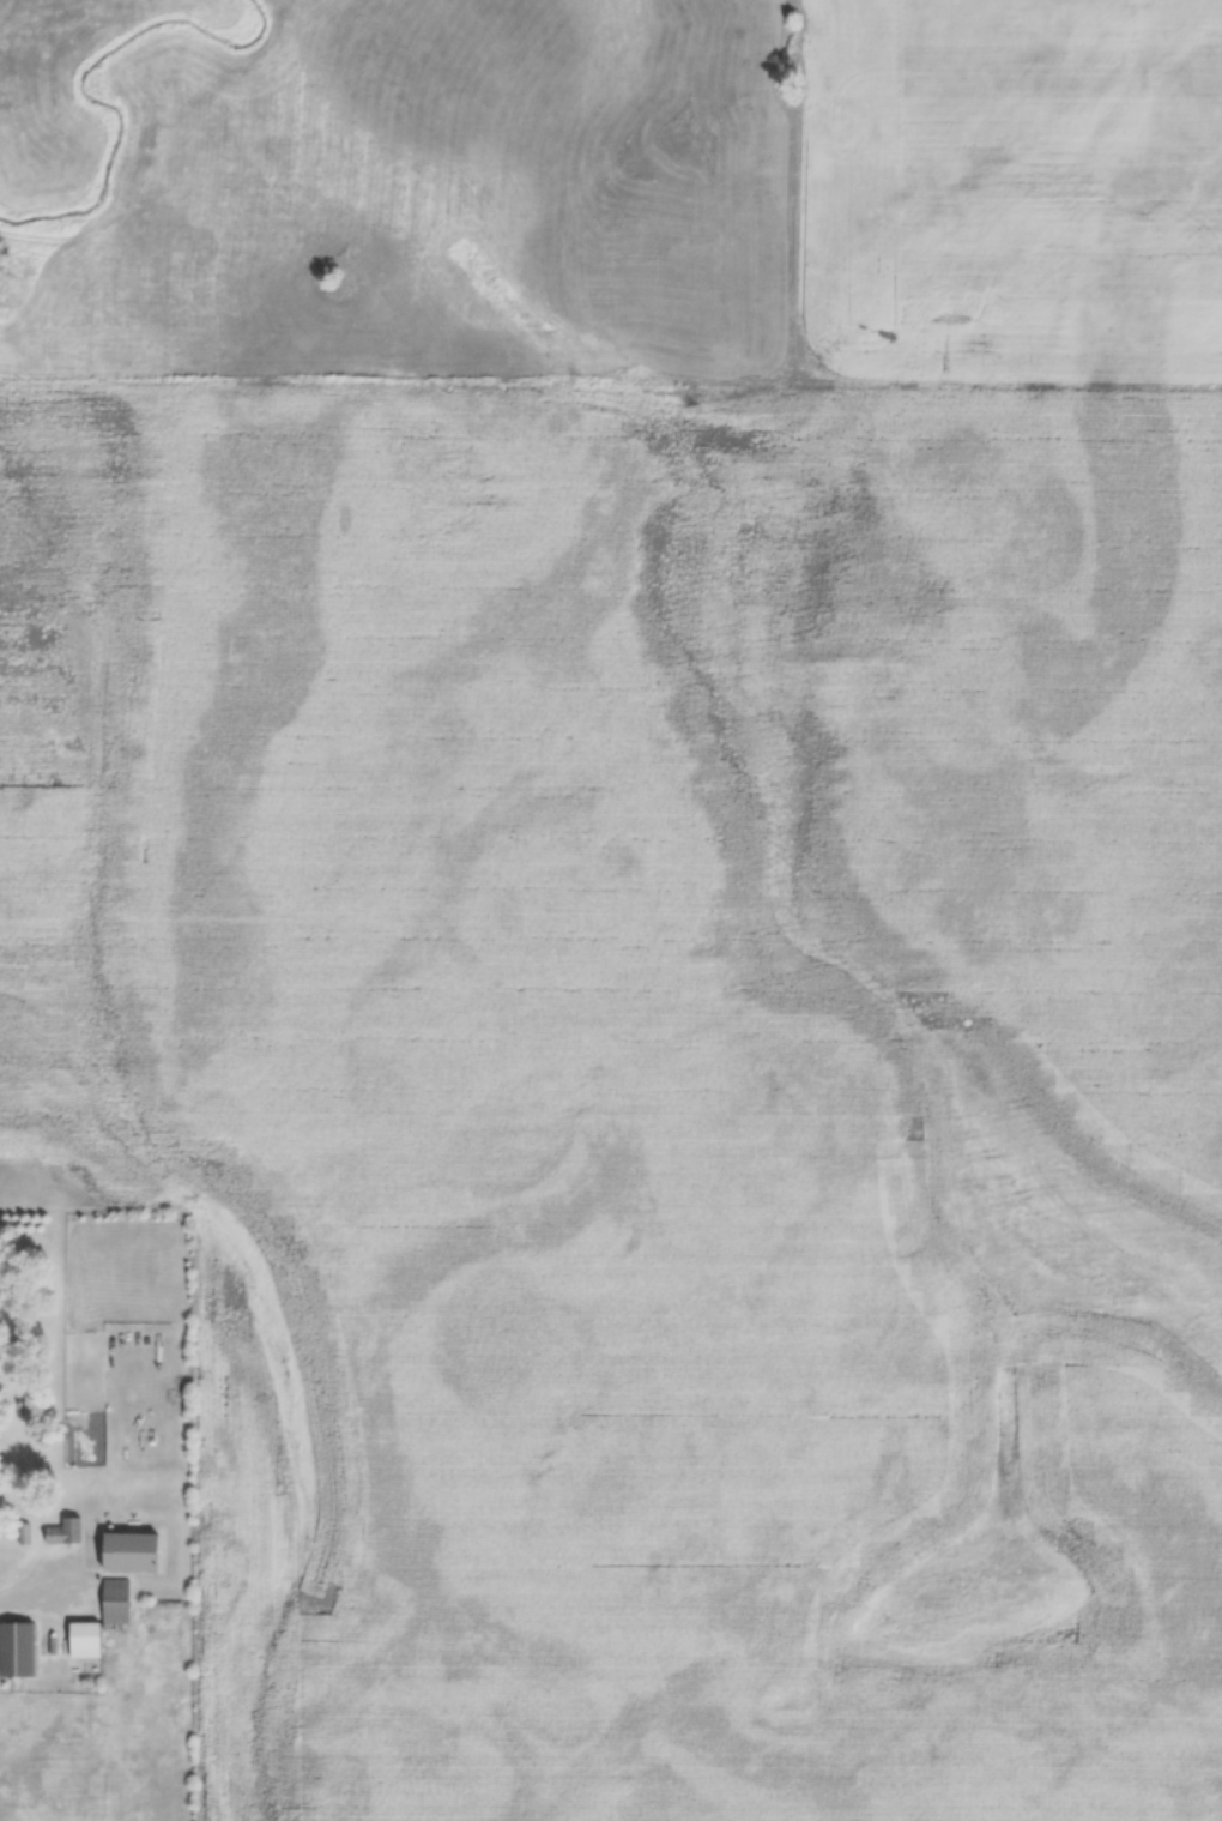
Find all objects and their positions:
building: (67, 1532)
building: (134, 1552)
building: (119, 1602)
building: (87, 1641)
building: (19, 1651)

